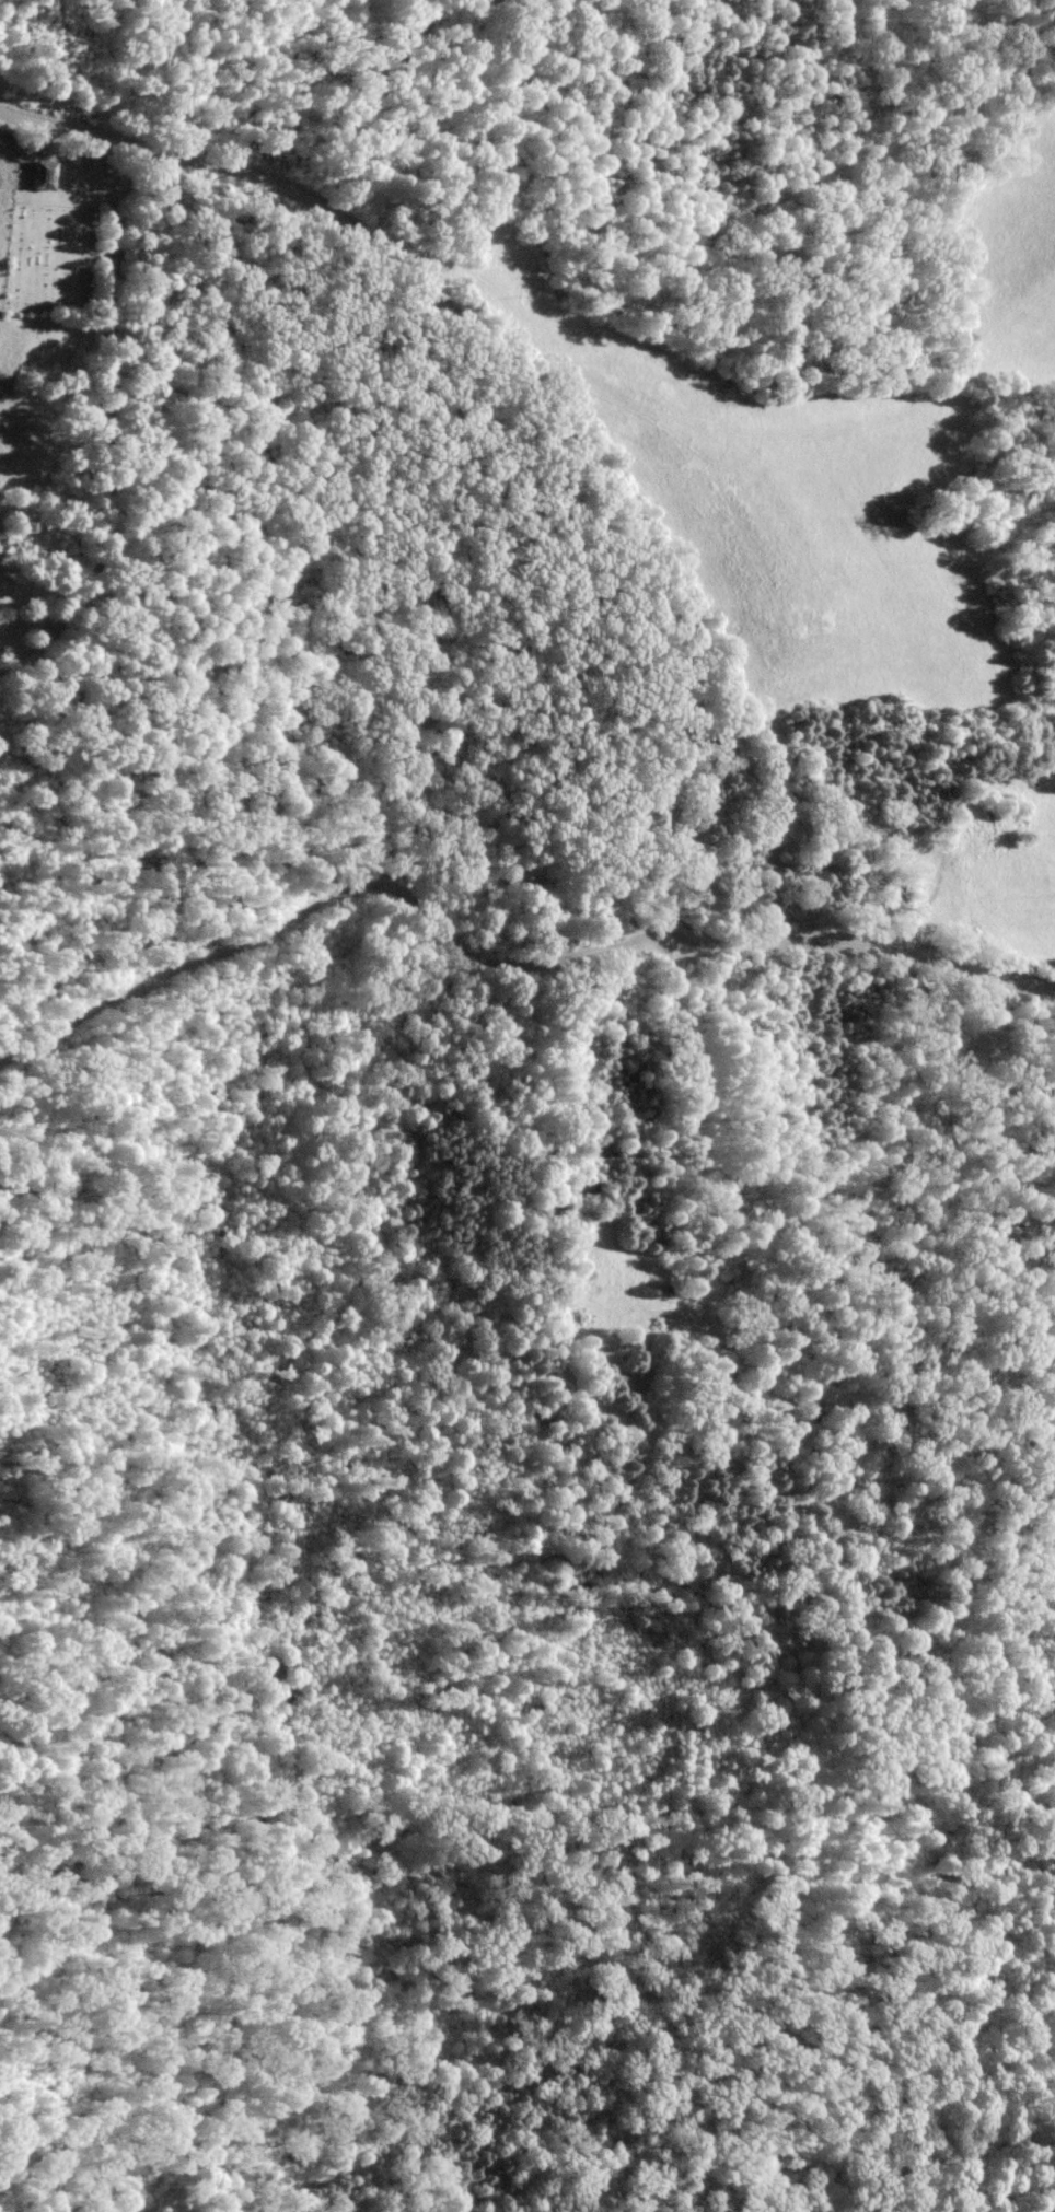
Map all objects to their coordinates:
building: (44, 176)
road: (115, 428)
road: (642, 536)

